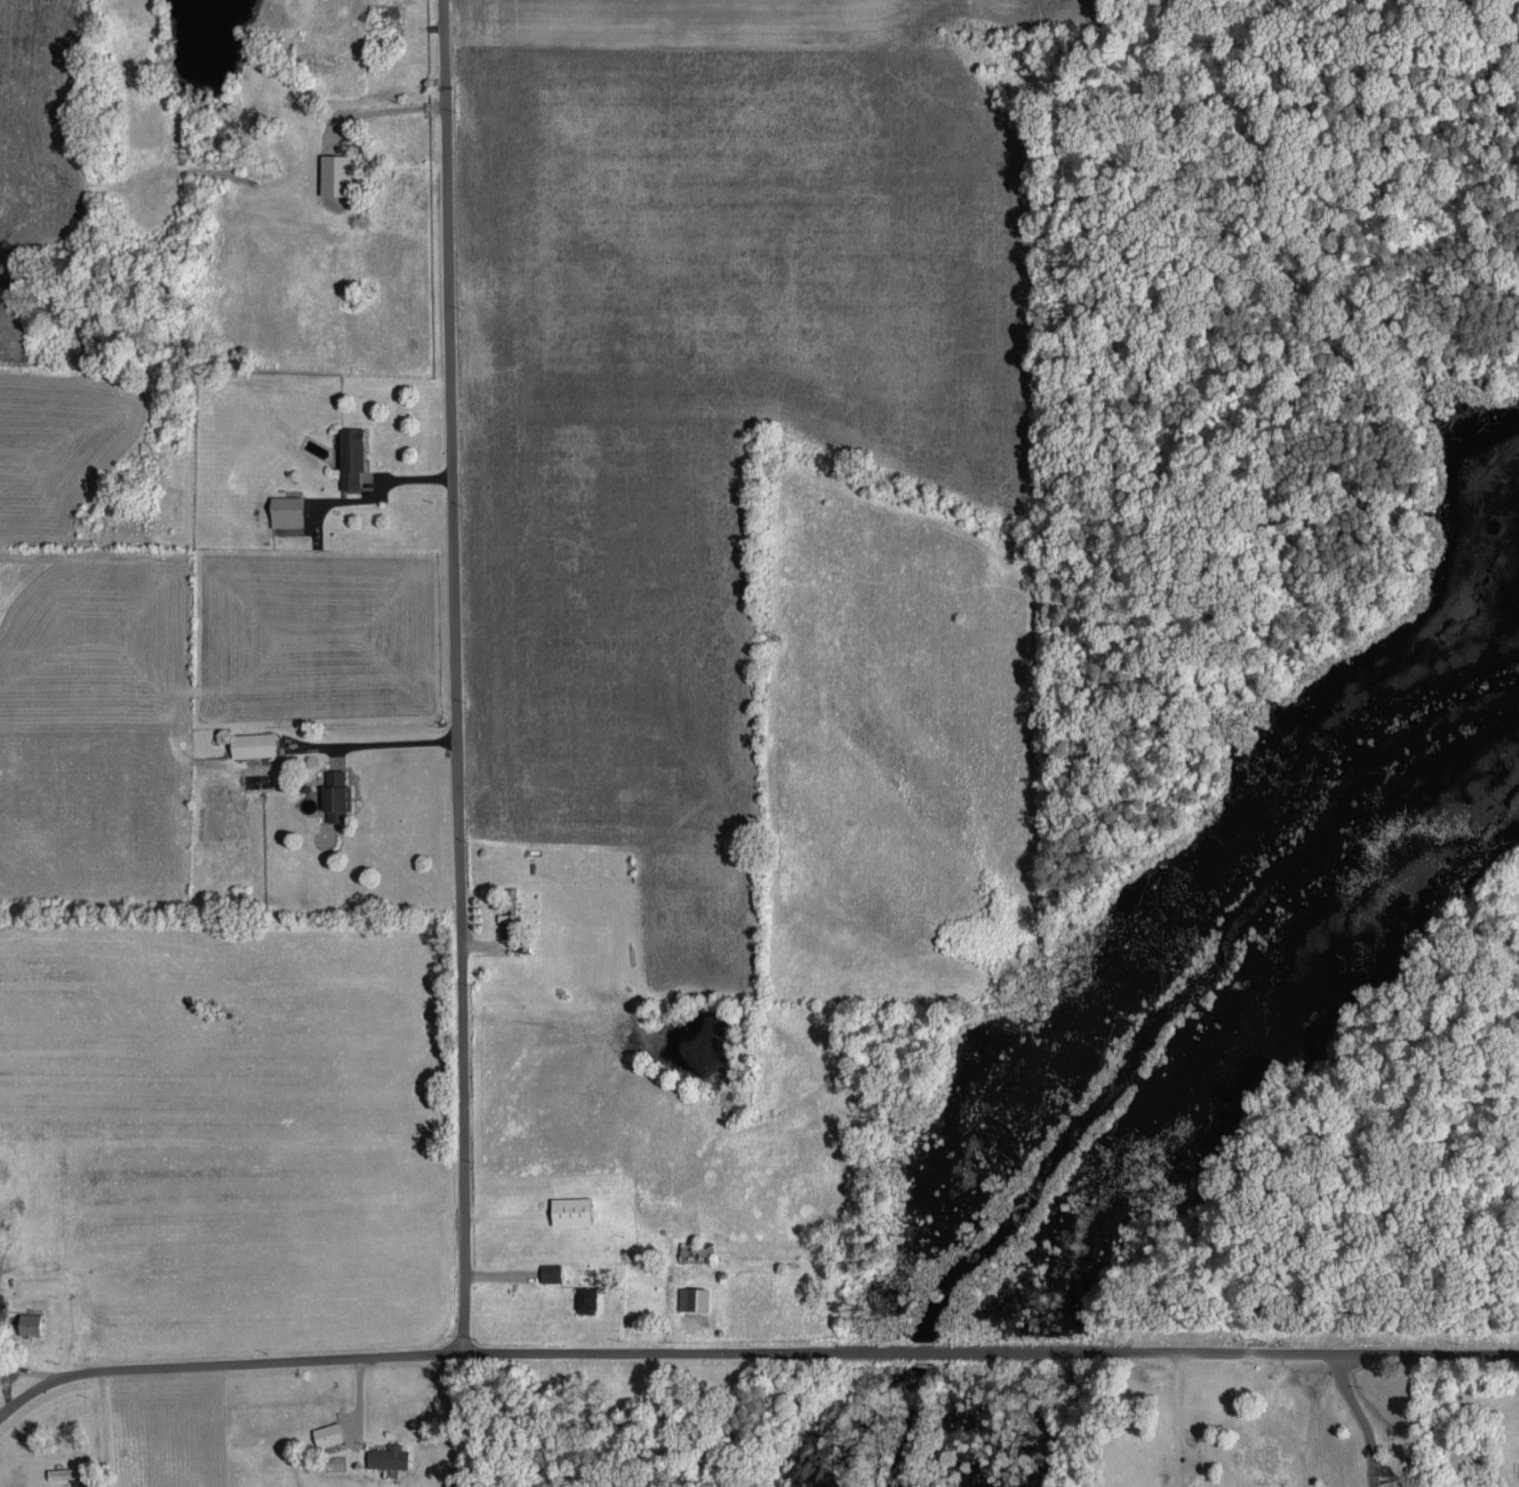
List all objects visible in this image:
building: (334, 172)
building: (350, 455)
building: (286, 509)
road: (454, 675)
building: (252, 743)
building: (335, 793)
building: (571, 1207)
building: (550, 1270)
building: (693, 1295)
building: (585, 1297)
building: (28, 1322)
road: (752, 1351)
building: (1210, 1399)
road: (1361, 1417)
road: (1177, 1419)
building: (326, 1432)
building: (388, 1454)
building: (64, 1471)

